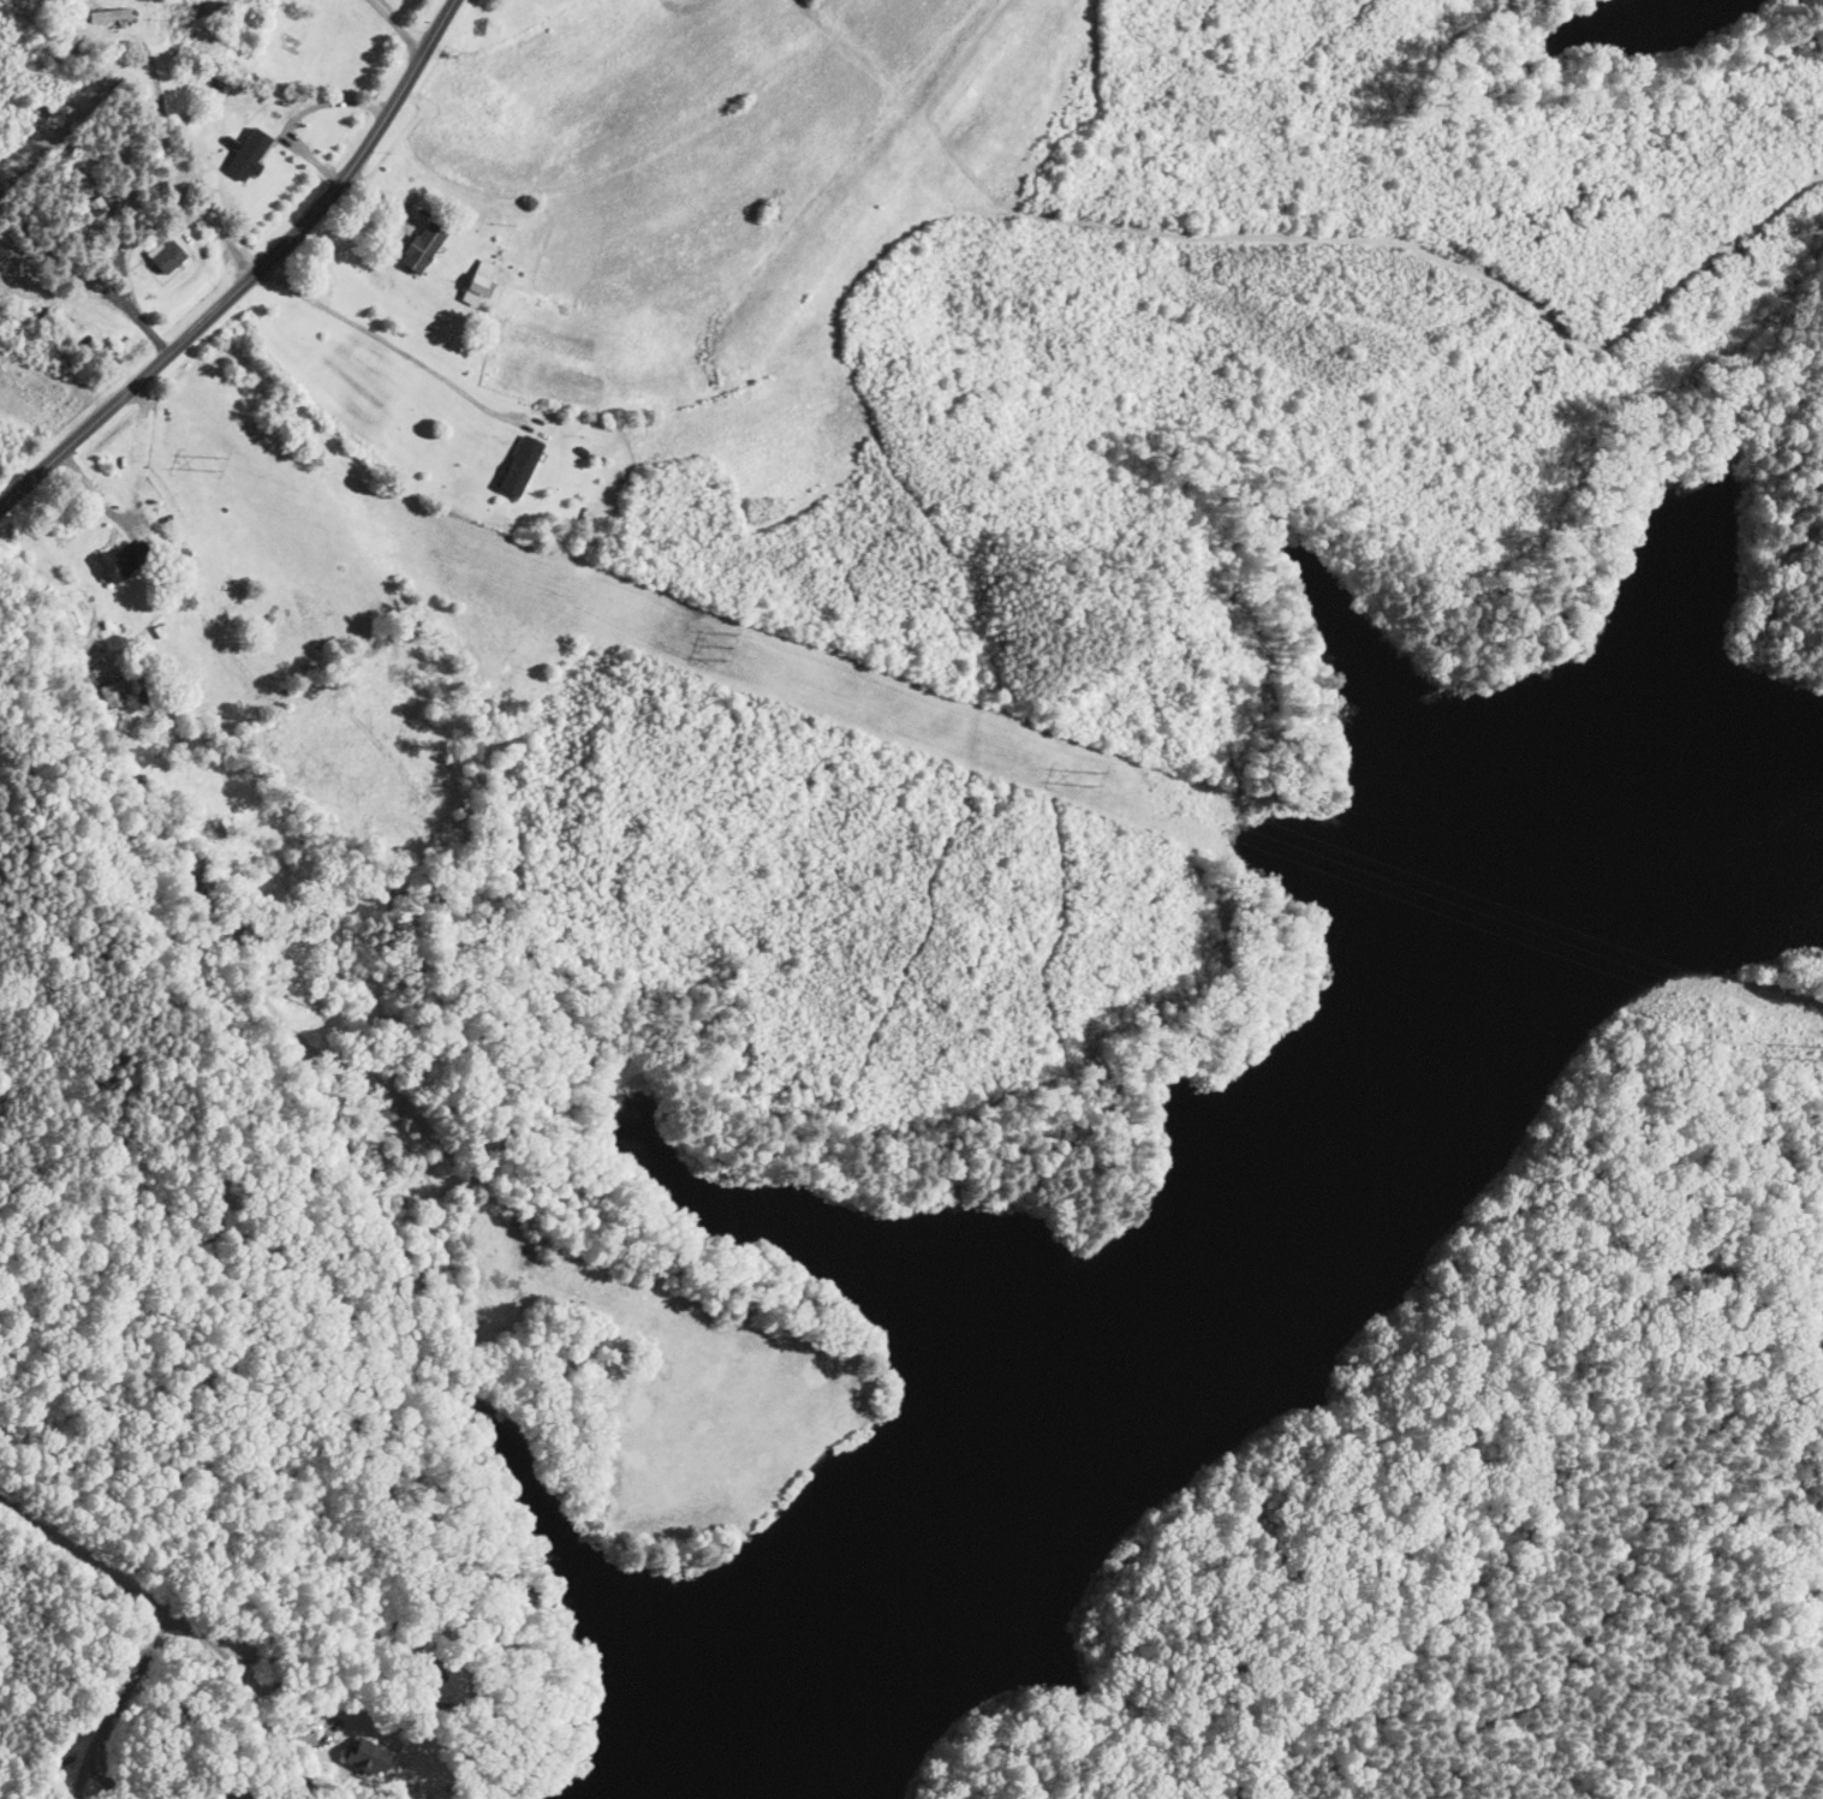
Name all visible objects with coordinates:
building: (111, 16)
road: (394, 29)
building: (251, 154)
building: (427, 248)
building: (169, 255)
road: (251, 272)
building: (481, 286)
power tower: (218, 463)
building: (524, 466)
building: (129, 559)
power tower: (717, 645)
power tower: (1088, 781)
building: (252, 939)
road: (93, 1569)
building: (454, 1688)

